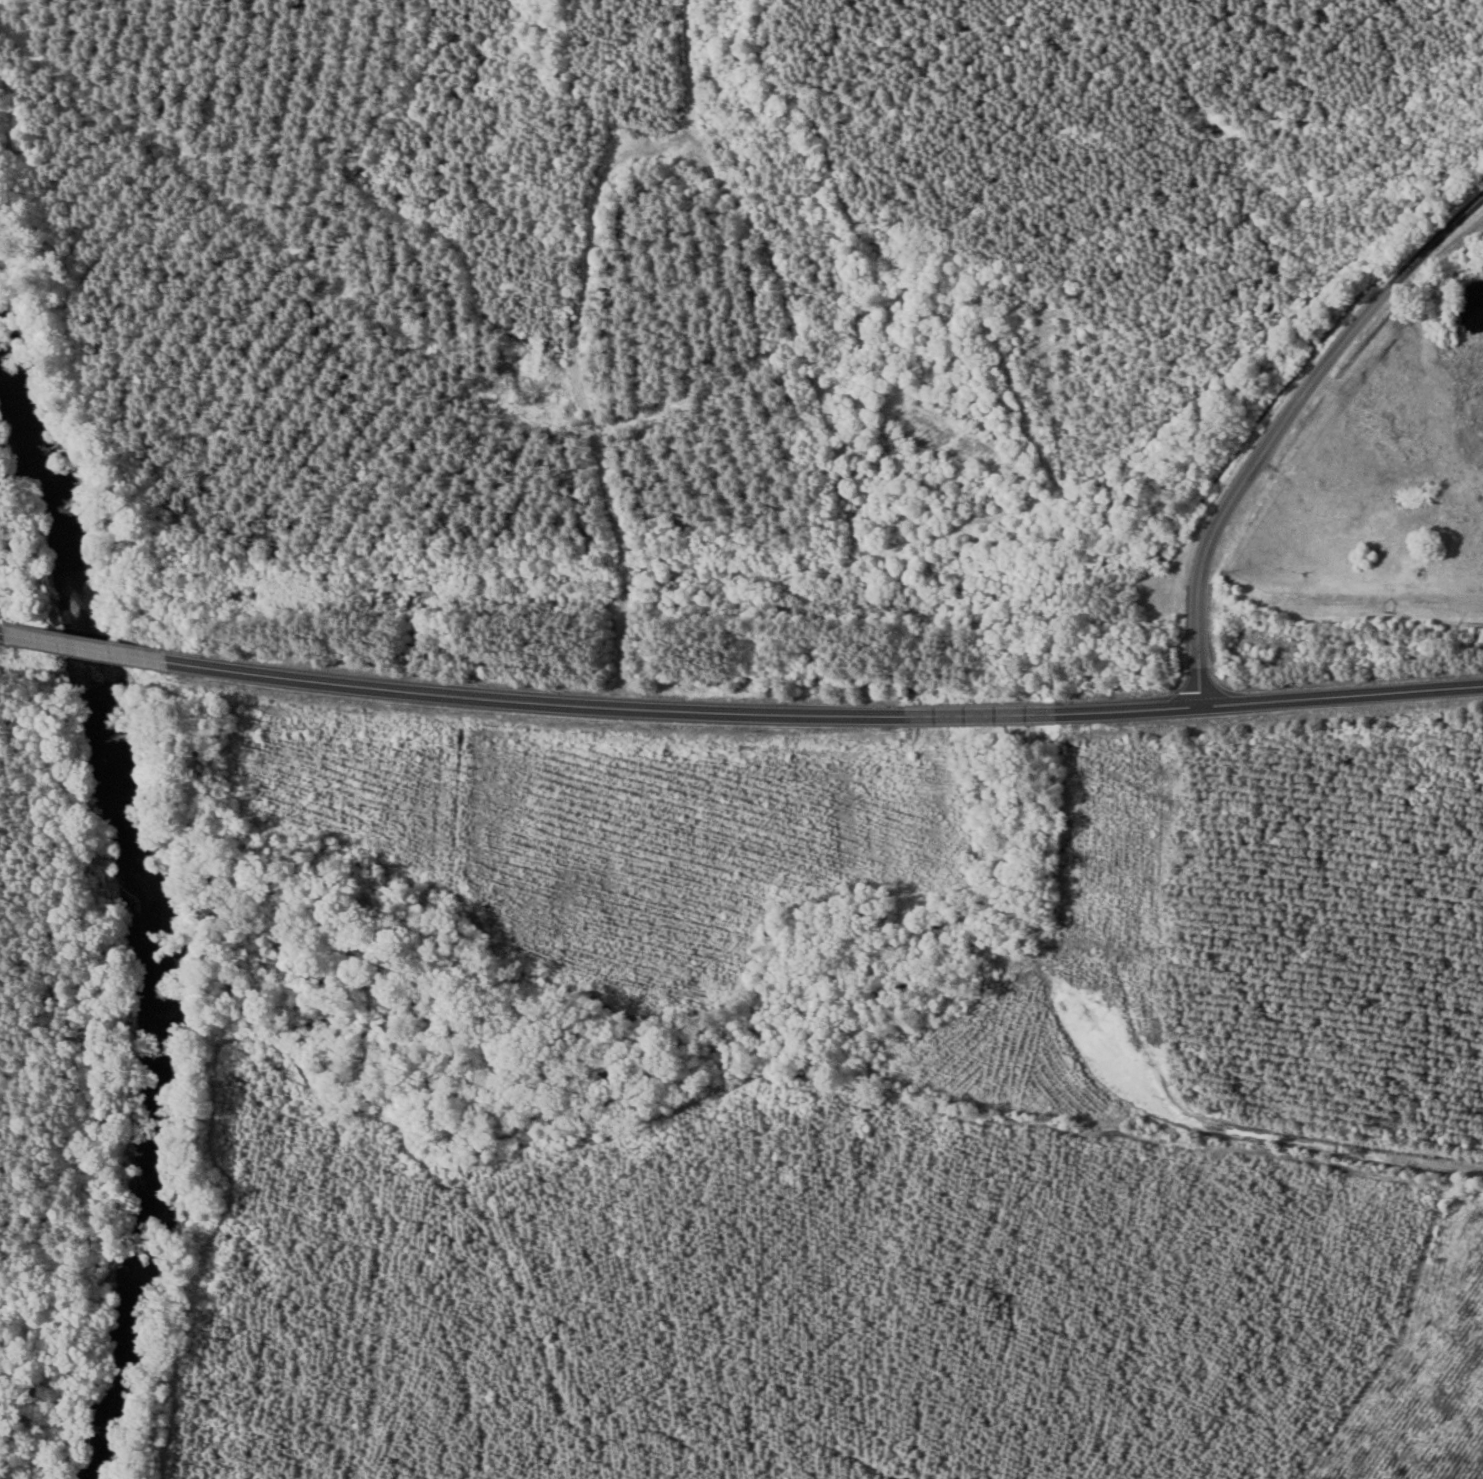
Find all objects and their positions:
road: (1282, 423)
road: (96, 646)
road: (836, 713)
river: (147, 928)

